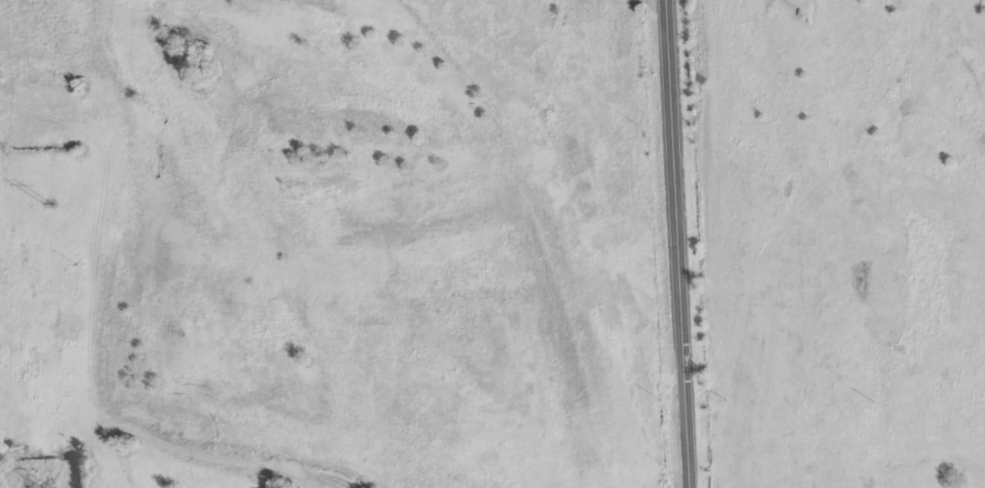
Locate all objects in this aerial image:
road: (678, 244)

